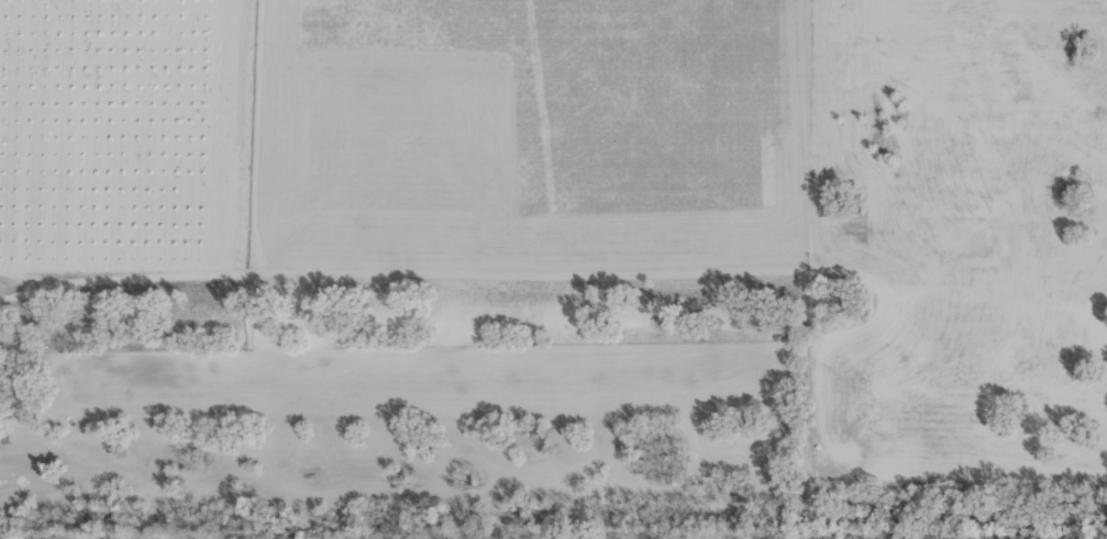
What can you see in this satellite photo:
crop: (553, 269)

